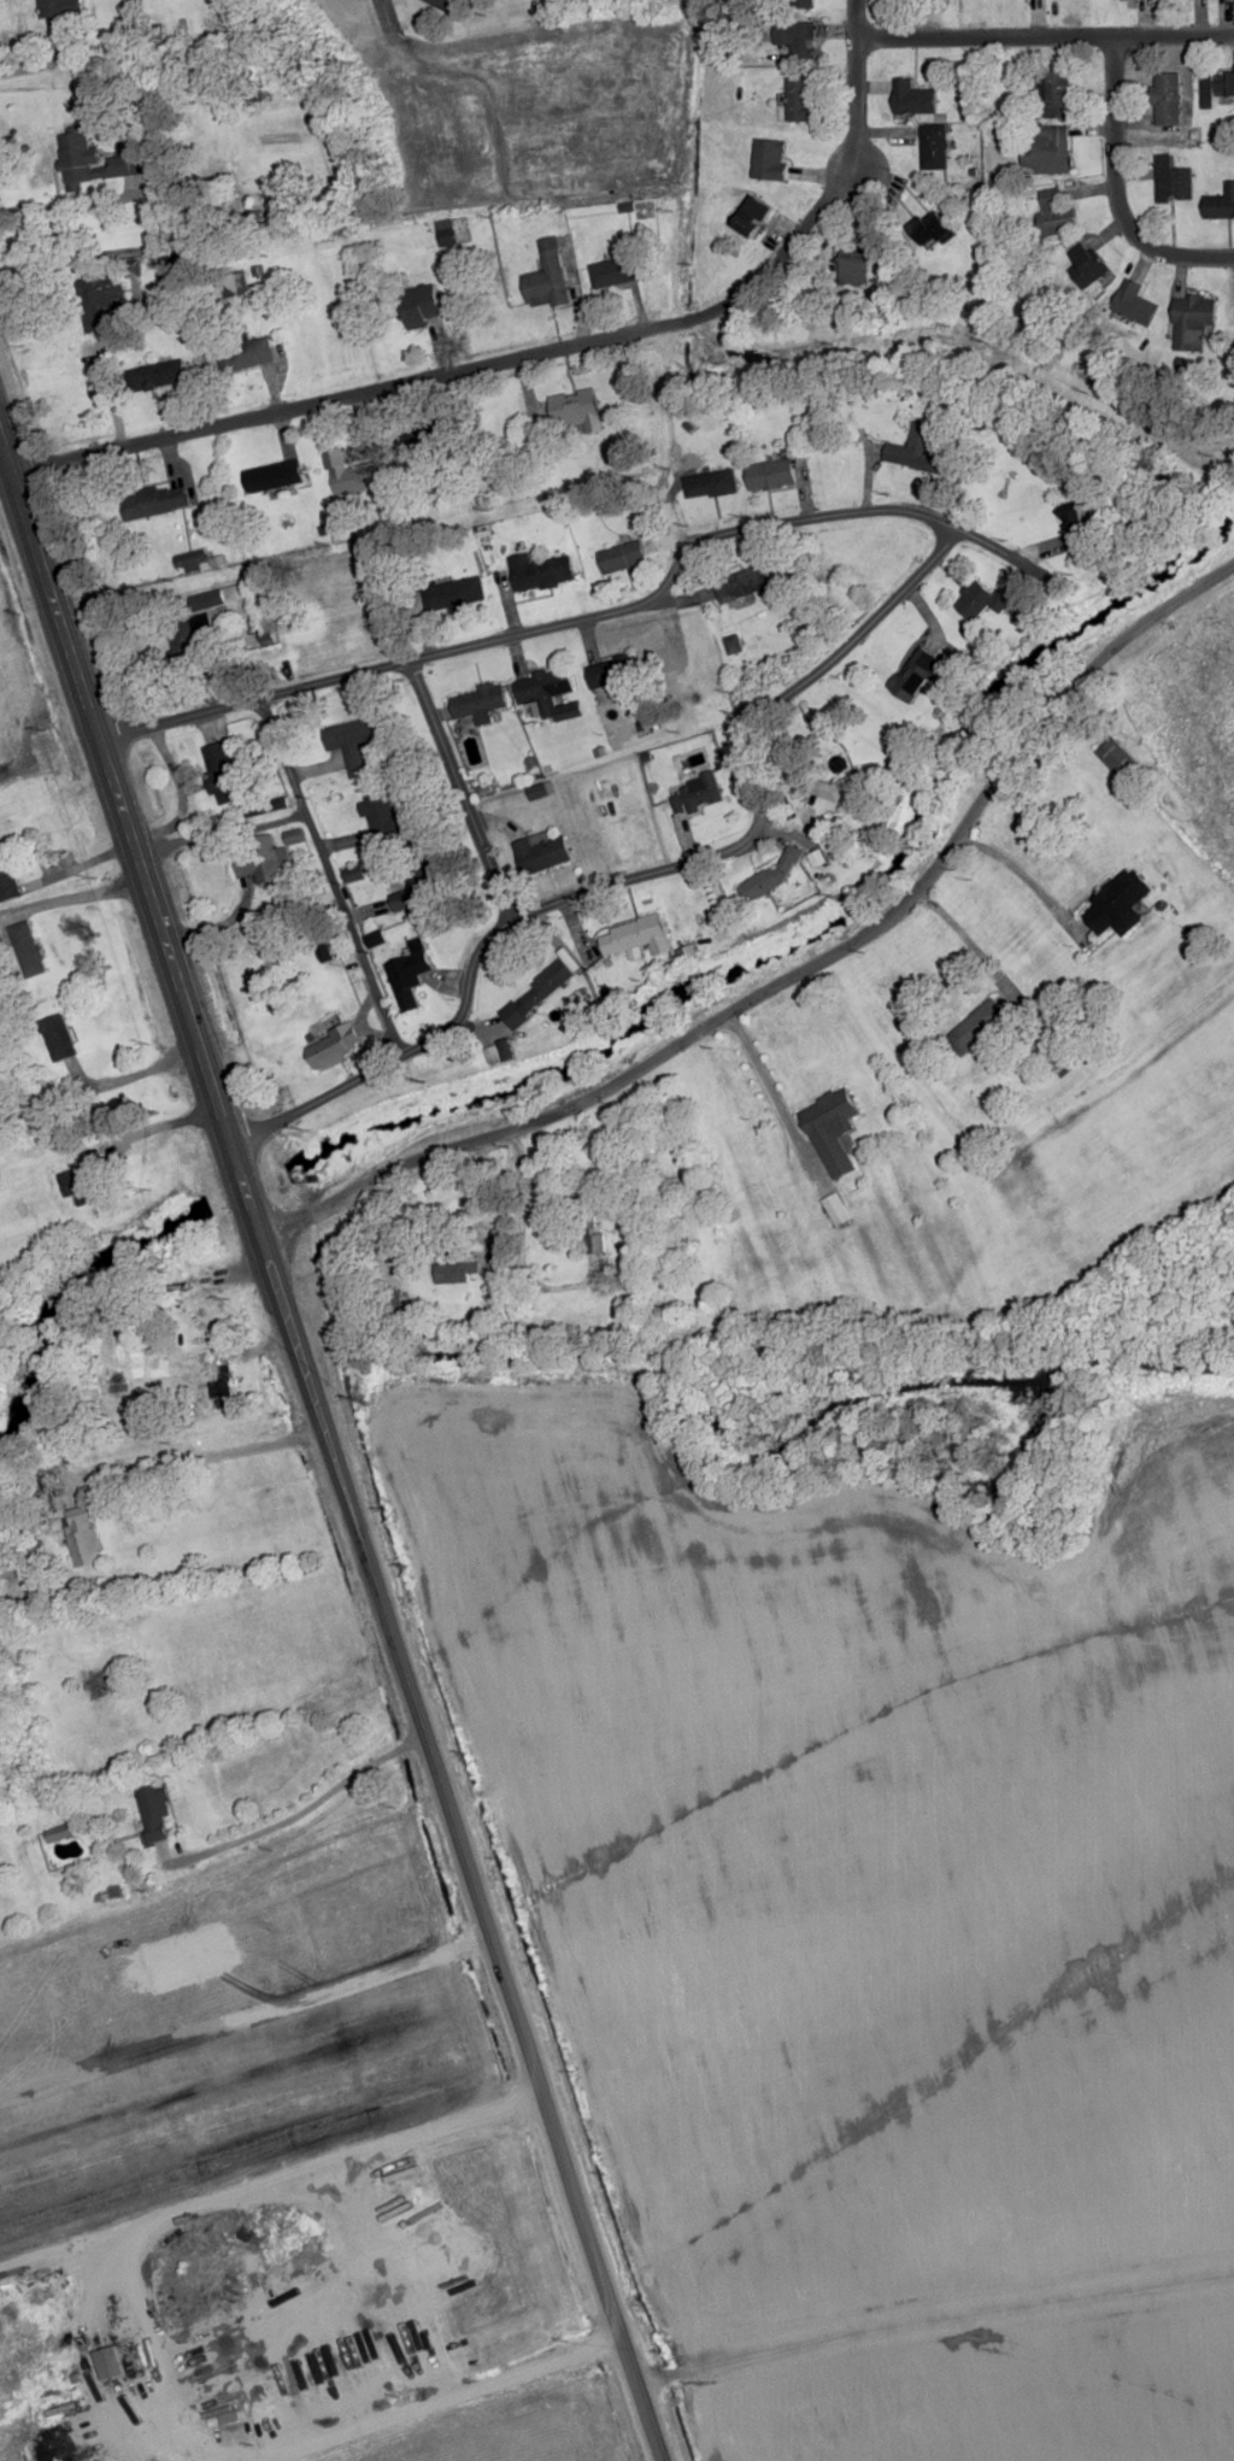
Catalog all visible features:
building: (445, 4)
building: (803, 4)
building: (53, 13)
road: (383, 13)
road: (848, 20)
road: (1171, 36)
building: (153, 39)
building: (797, 39)
road: (979, 39)
road: (75, 46)
building: (1215, 87)
building: (1052, 93)
building: (799, 98)
building: (912, 98)
building: (1167, 98)
road: (847, 112)
building: (934, 145)
building: (1048, 149)
building: (75, 157)
building: (770, 158)
building: (125, 164)
building: (1173, 178)
road: (1112, 190)
building: (1221, 202)
building: (753, 215)
building: (1054, 215)
building: (932, 227)
building: (445, 231)
building: (1087, 264)
building: (854, 265)
building: (612, 271)
building: (547, 276)
building: (239, 282)
building: (100, 300)
building: (1134, 303)
building: (419, 304)
building: (1192, 321)
building: (246, 352)
road: (448, 371)
building: (161, 374)
building: (578, 410)
building: (918, 448)
building: (347, 474)
building: (771, 474)
building: (271, 476)
building: (711, 483)
building: (153, 500)
building: (1079, 528)
building: (621, 556)
building: (540, 571)
road: (919, 580)
road: (968, 581)
building: (741, 583)
building: (453, 592)
building: (982, 601)
building: (202, 632)
building: (619, 668)
building: (915, 672)
building: (550, 692)
building: (476, 703)
building: (357, 741)
building: (1117, 757)
building: (221, 771)
building: (800, 787)
road: (466, 789)
building: (697, 793)
building: (381, 817)
building: (541, 852)
building: (263, 859)
building: (353, 875)
road: (323, 877)
building: (7, 881)
building: (409, 892)
building: (1117, 904)
building: (639, 932)
road: (969, 945)
building: (28, 948)
road: (799, 970)
building: (407, 977)
building: (545, 987)
building: (515, 1015)
building: (977, 1028)
building: (58, 1038)
building: (340, 1044)
building: (36, 1109)
building: (832, 1129)
building: (83, 1183)
building: (582, 1208)
building: (836, 1210)
building: (595, 1243)
building: (458, 1270)
building: (192, 1320)
building: (221, 1386)
road: (188, 1457)
road: (329, 1458)
building: (83, 1535)
building: (155, 1813)
road: (298, 1813)
building: (161, 1851)
road: (270, 2187)
road: (933, 2325)
building: (110, 2362)
road: (439, 2401)
road: (175, 2454)

